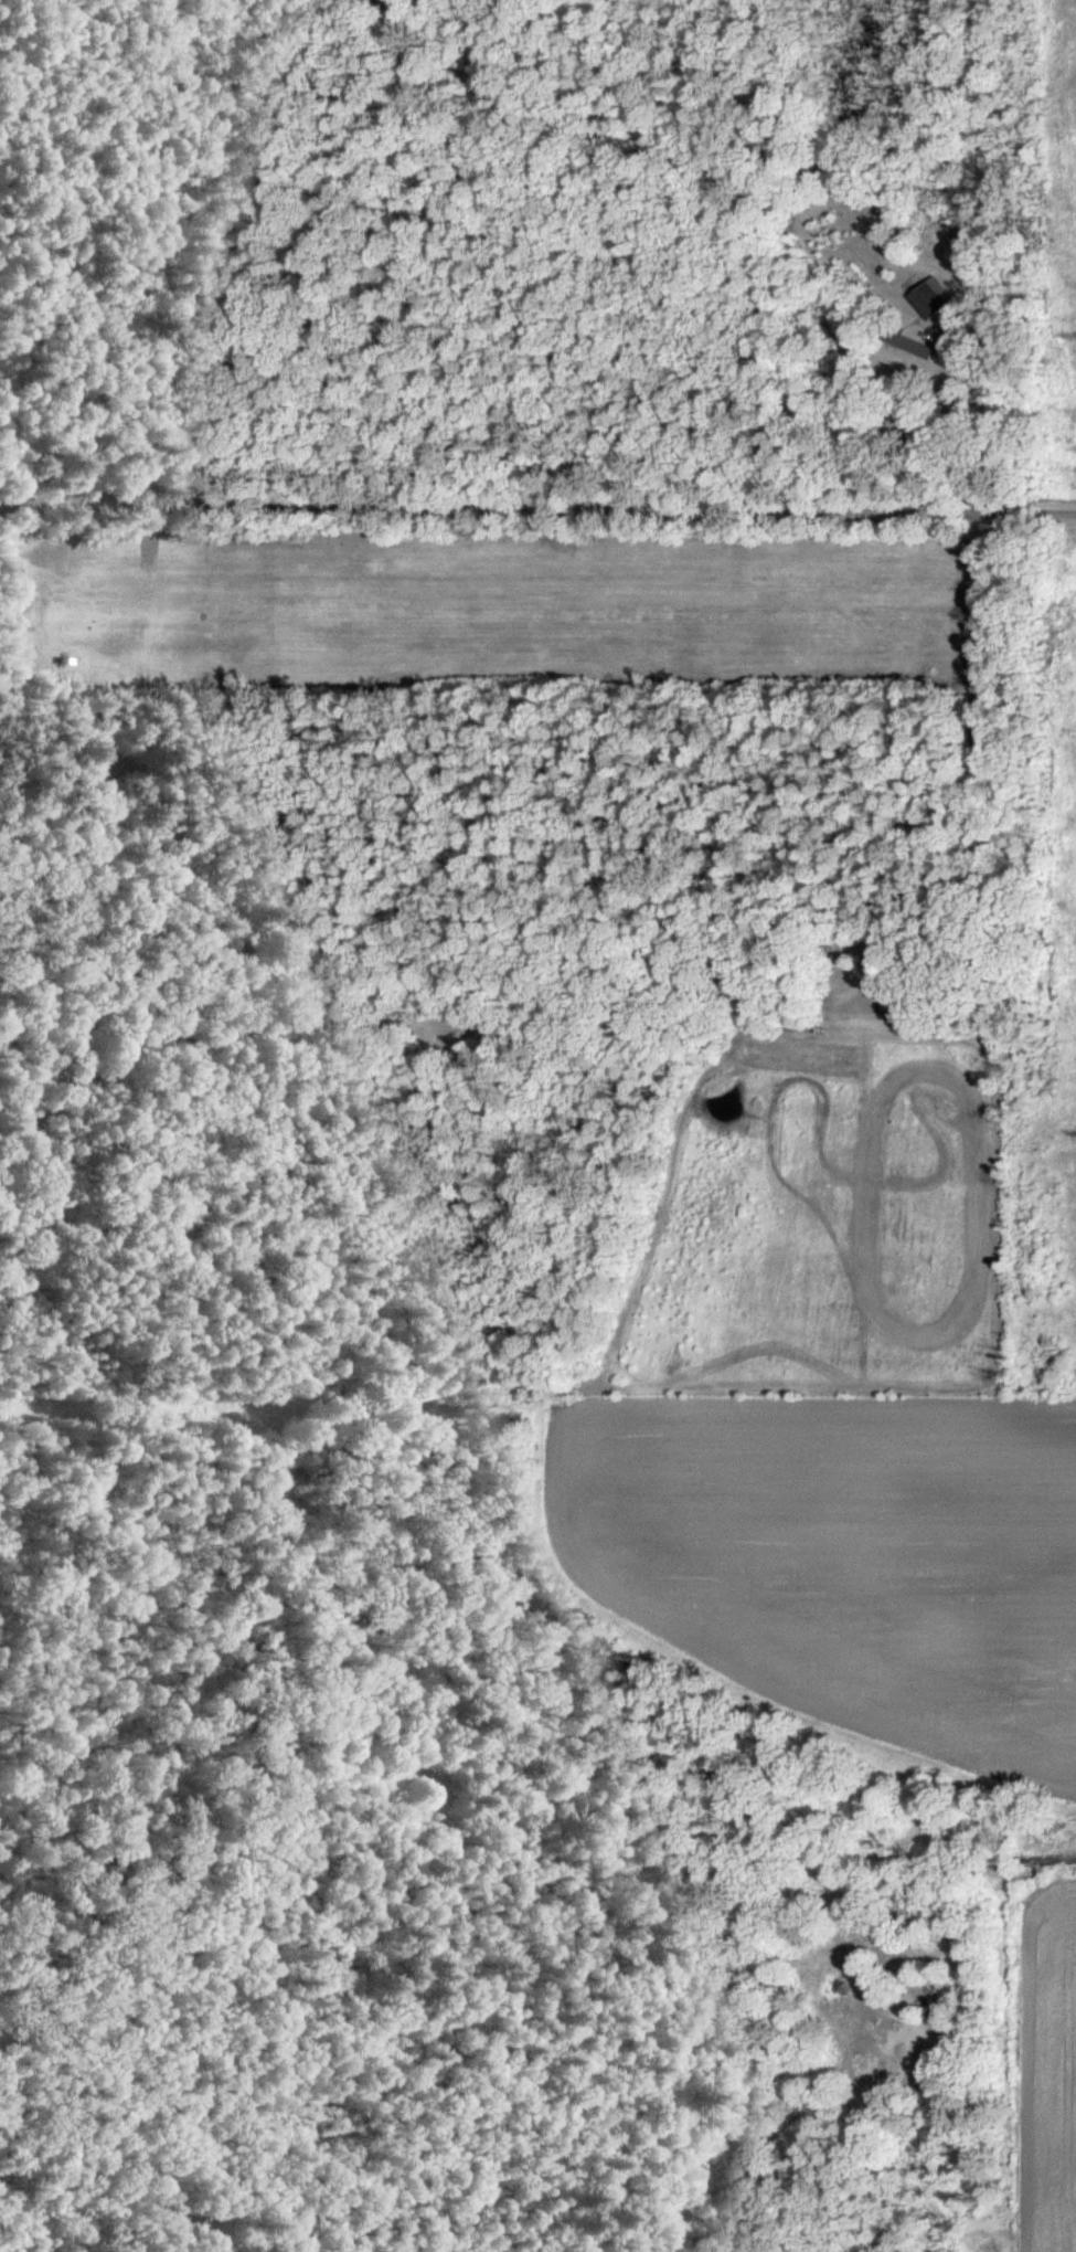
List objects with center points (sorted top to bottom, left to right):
building: (935, 299)
building: (914, 346)
road: (537, 512)

